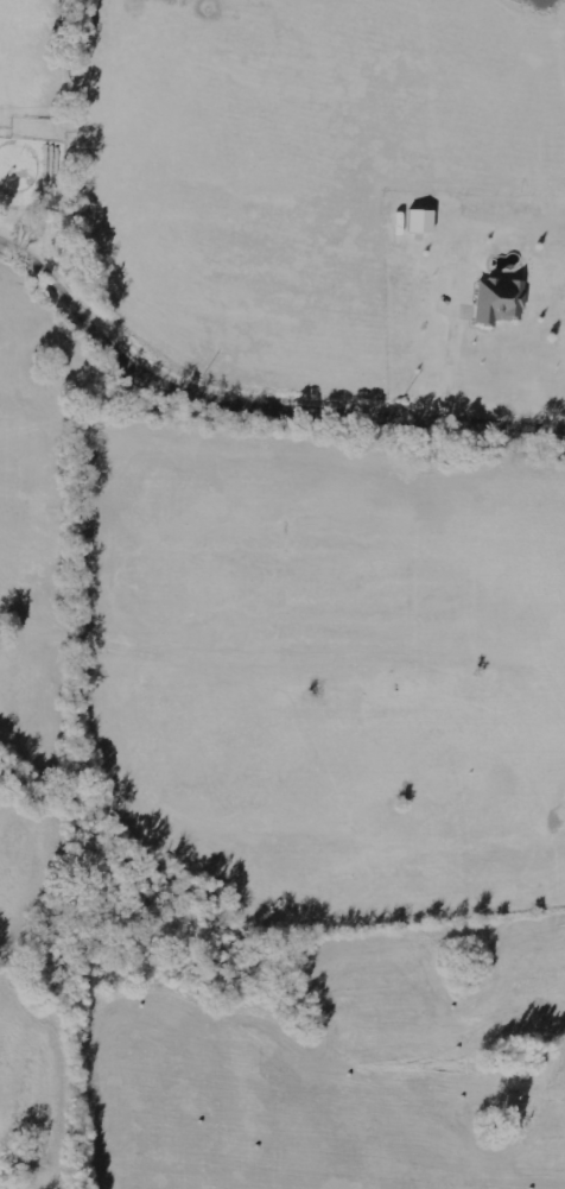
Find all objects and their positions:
building: (421, 221)
building: (499, 301)
road: (253, 409)

